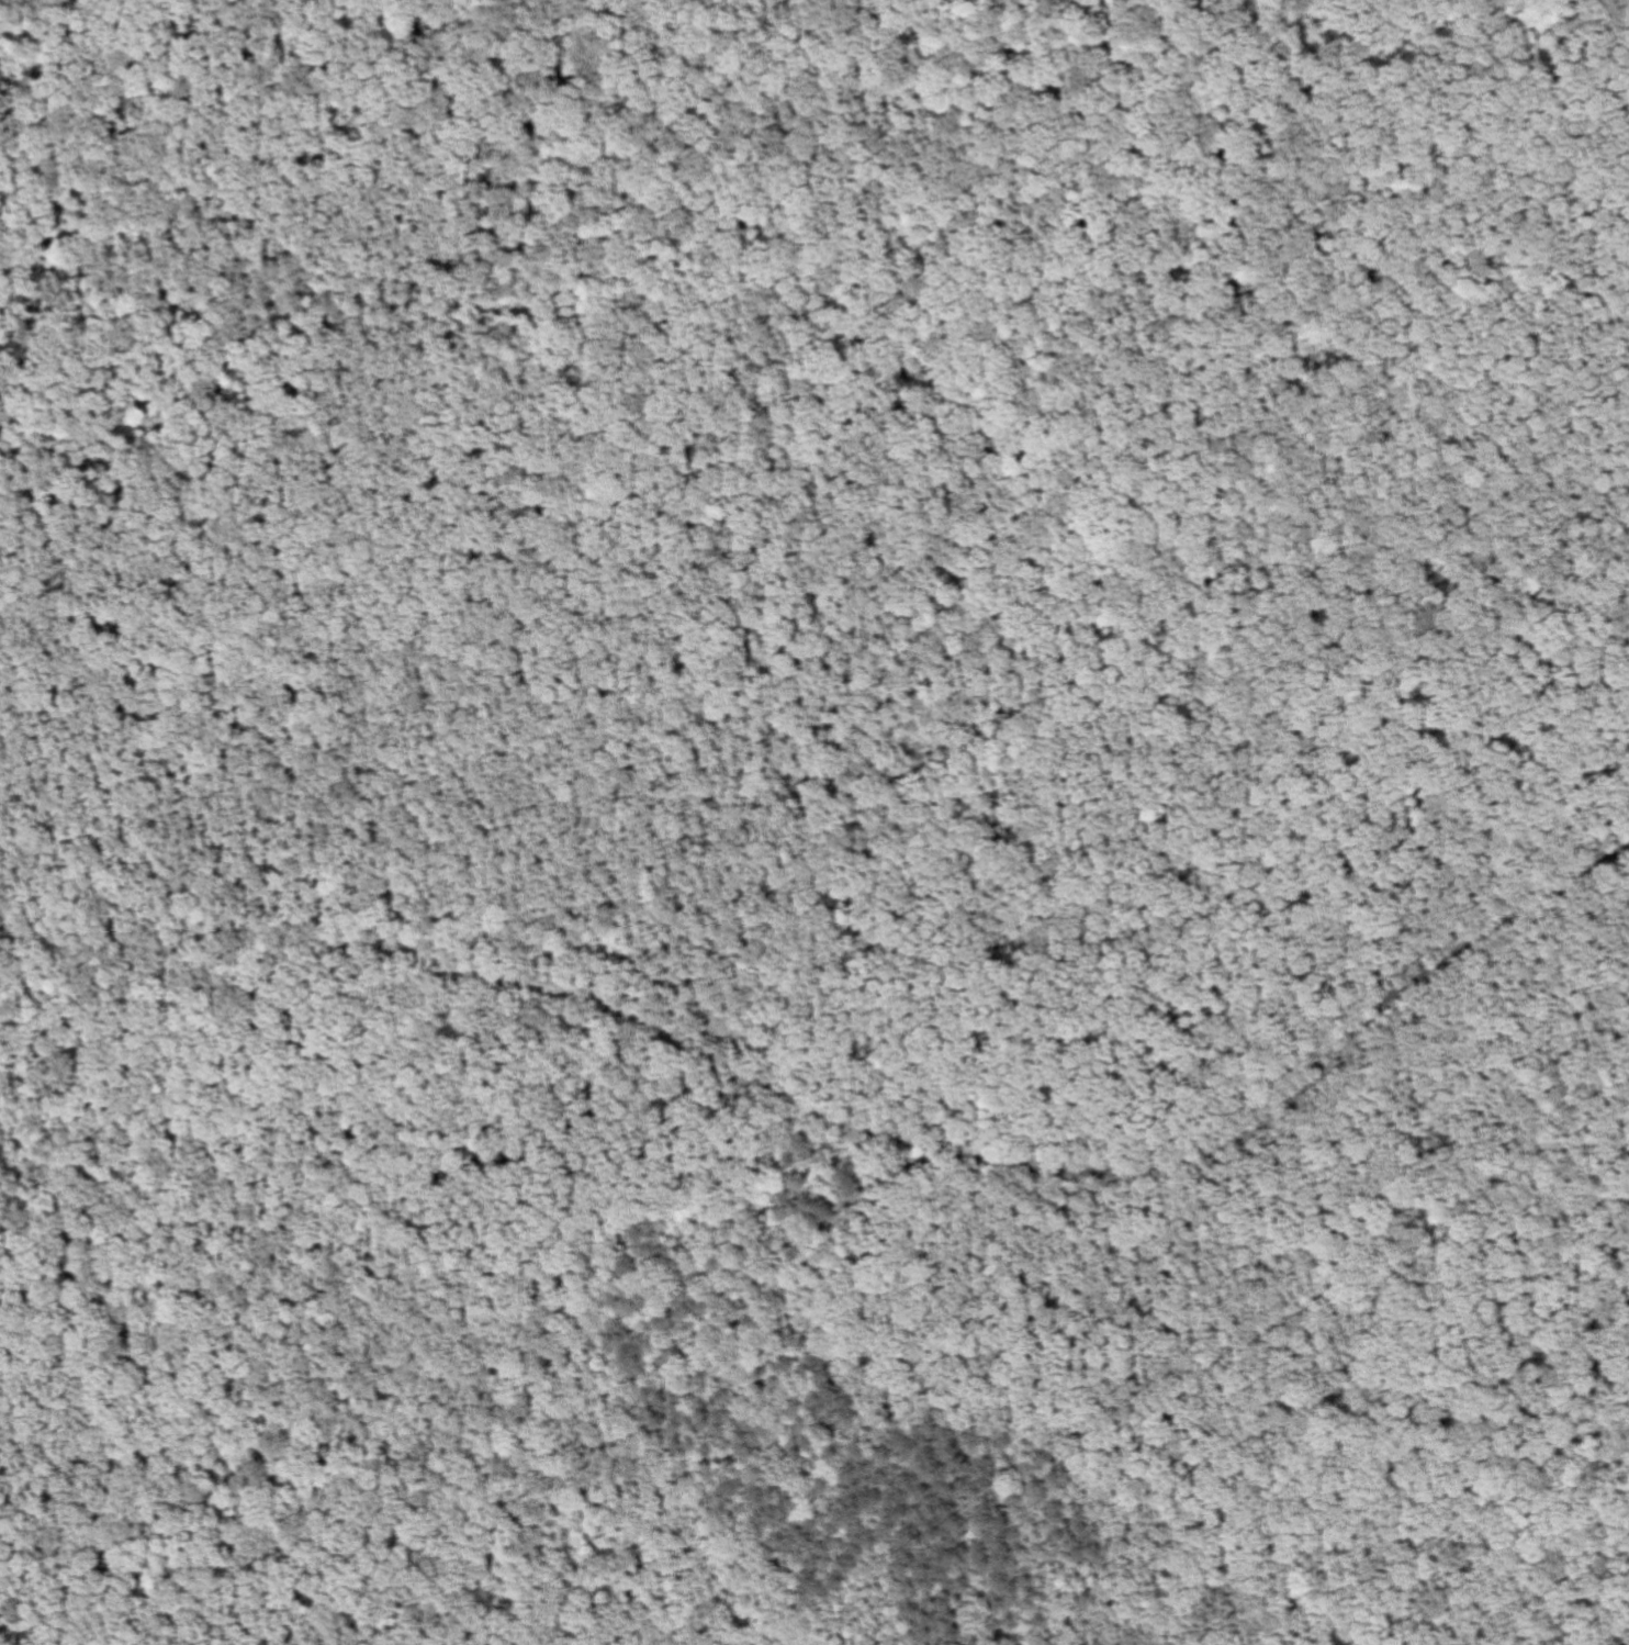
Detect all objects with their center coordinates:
road: (850, 1127)

